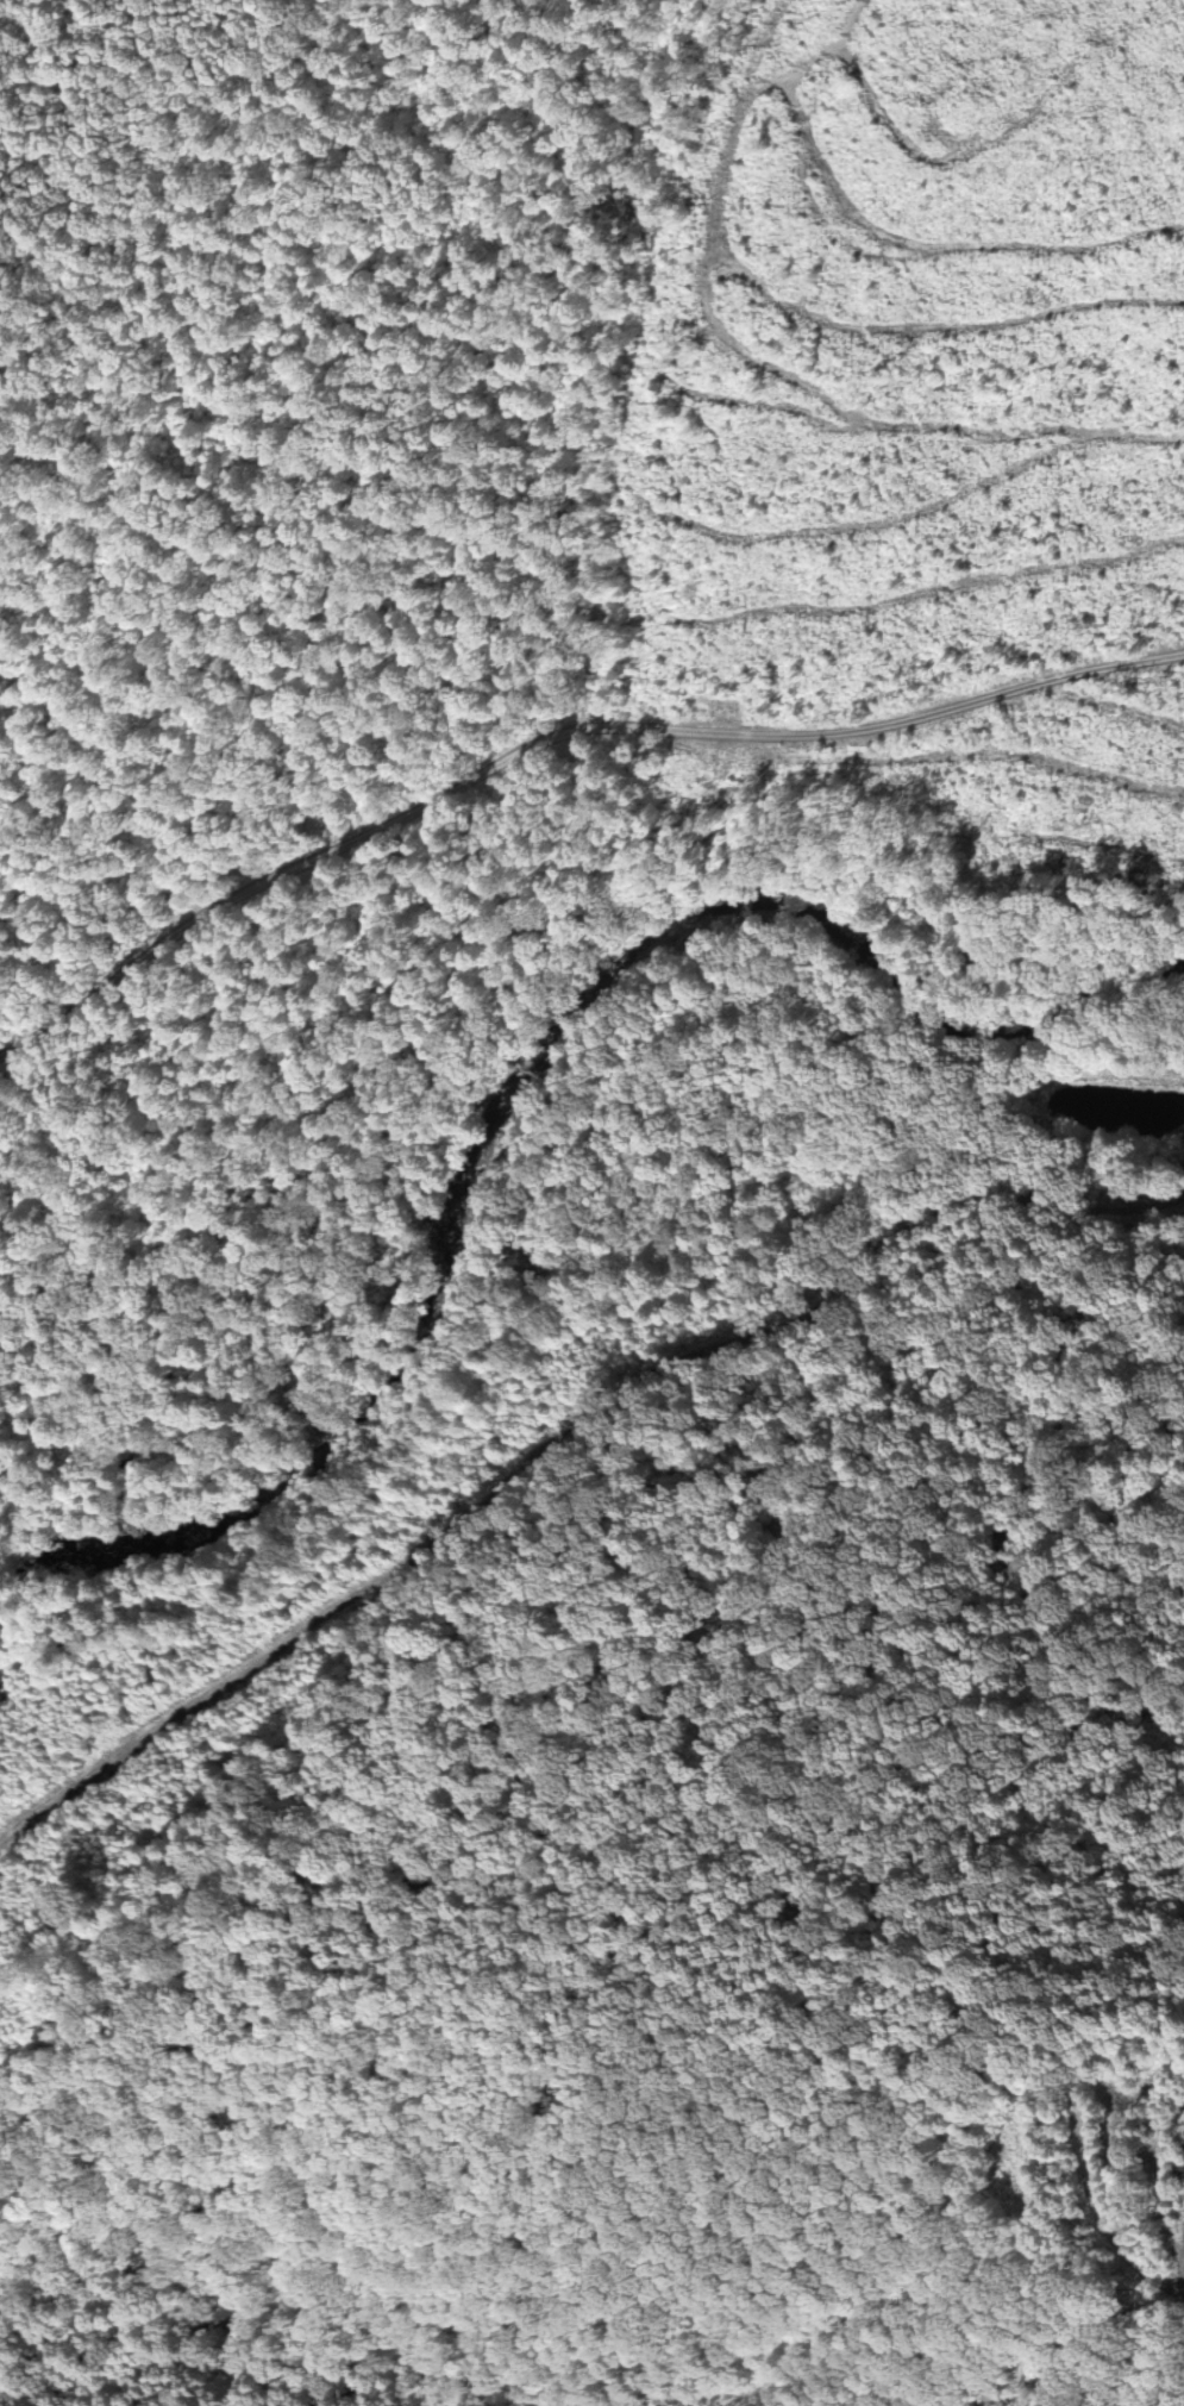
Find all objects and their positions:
road: (565, 824)

